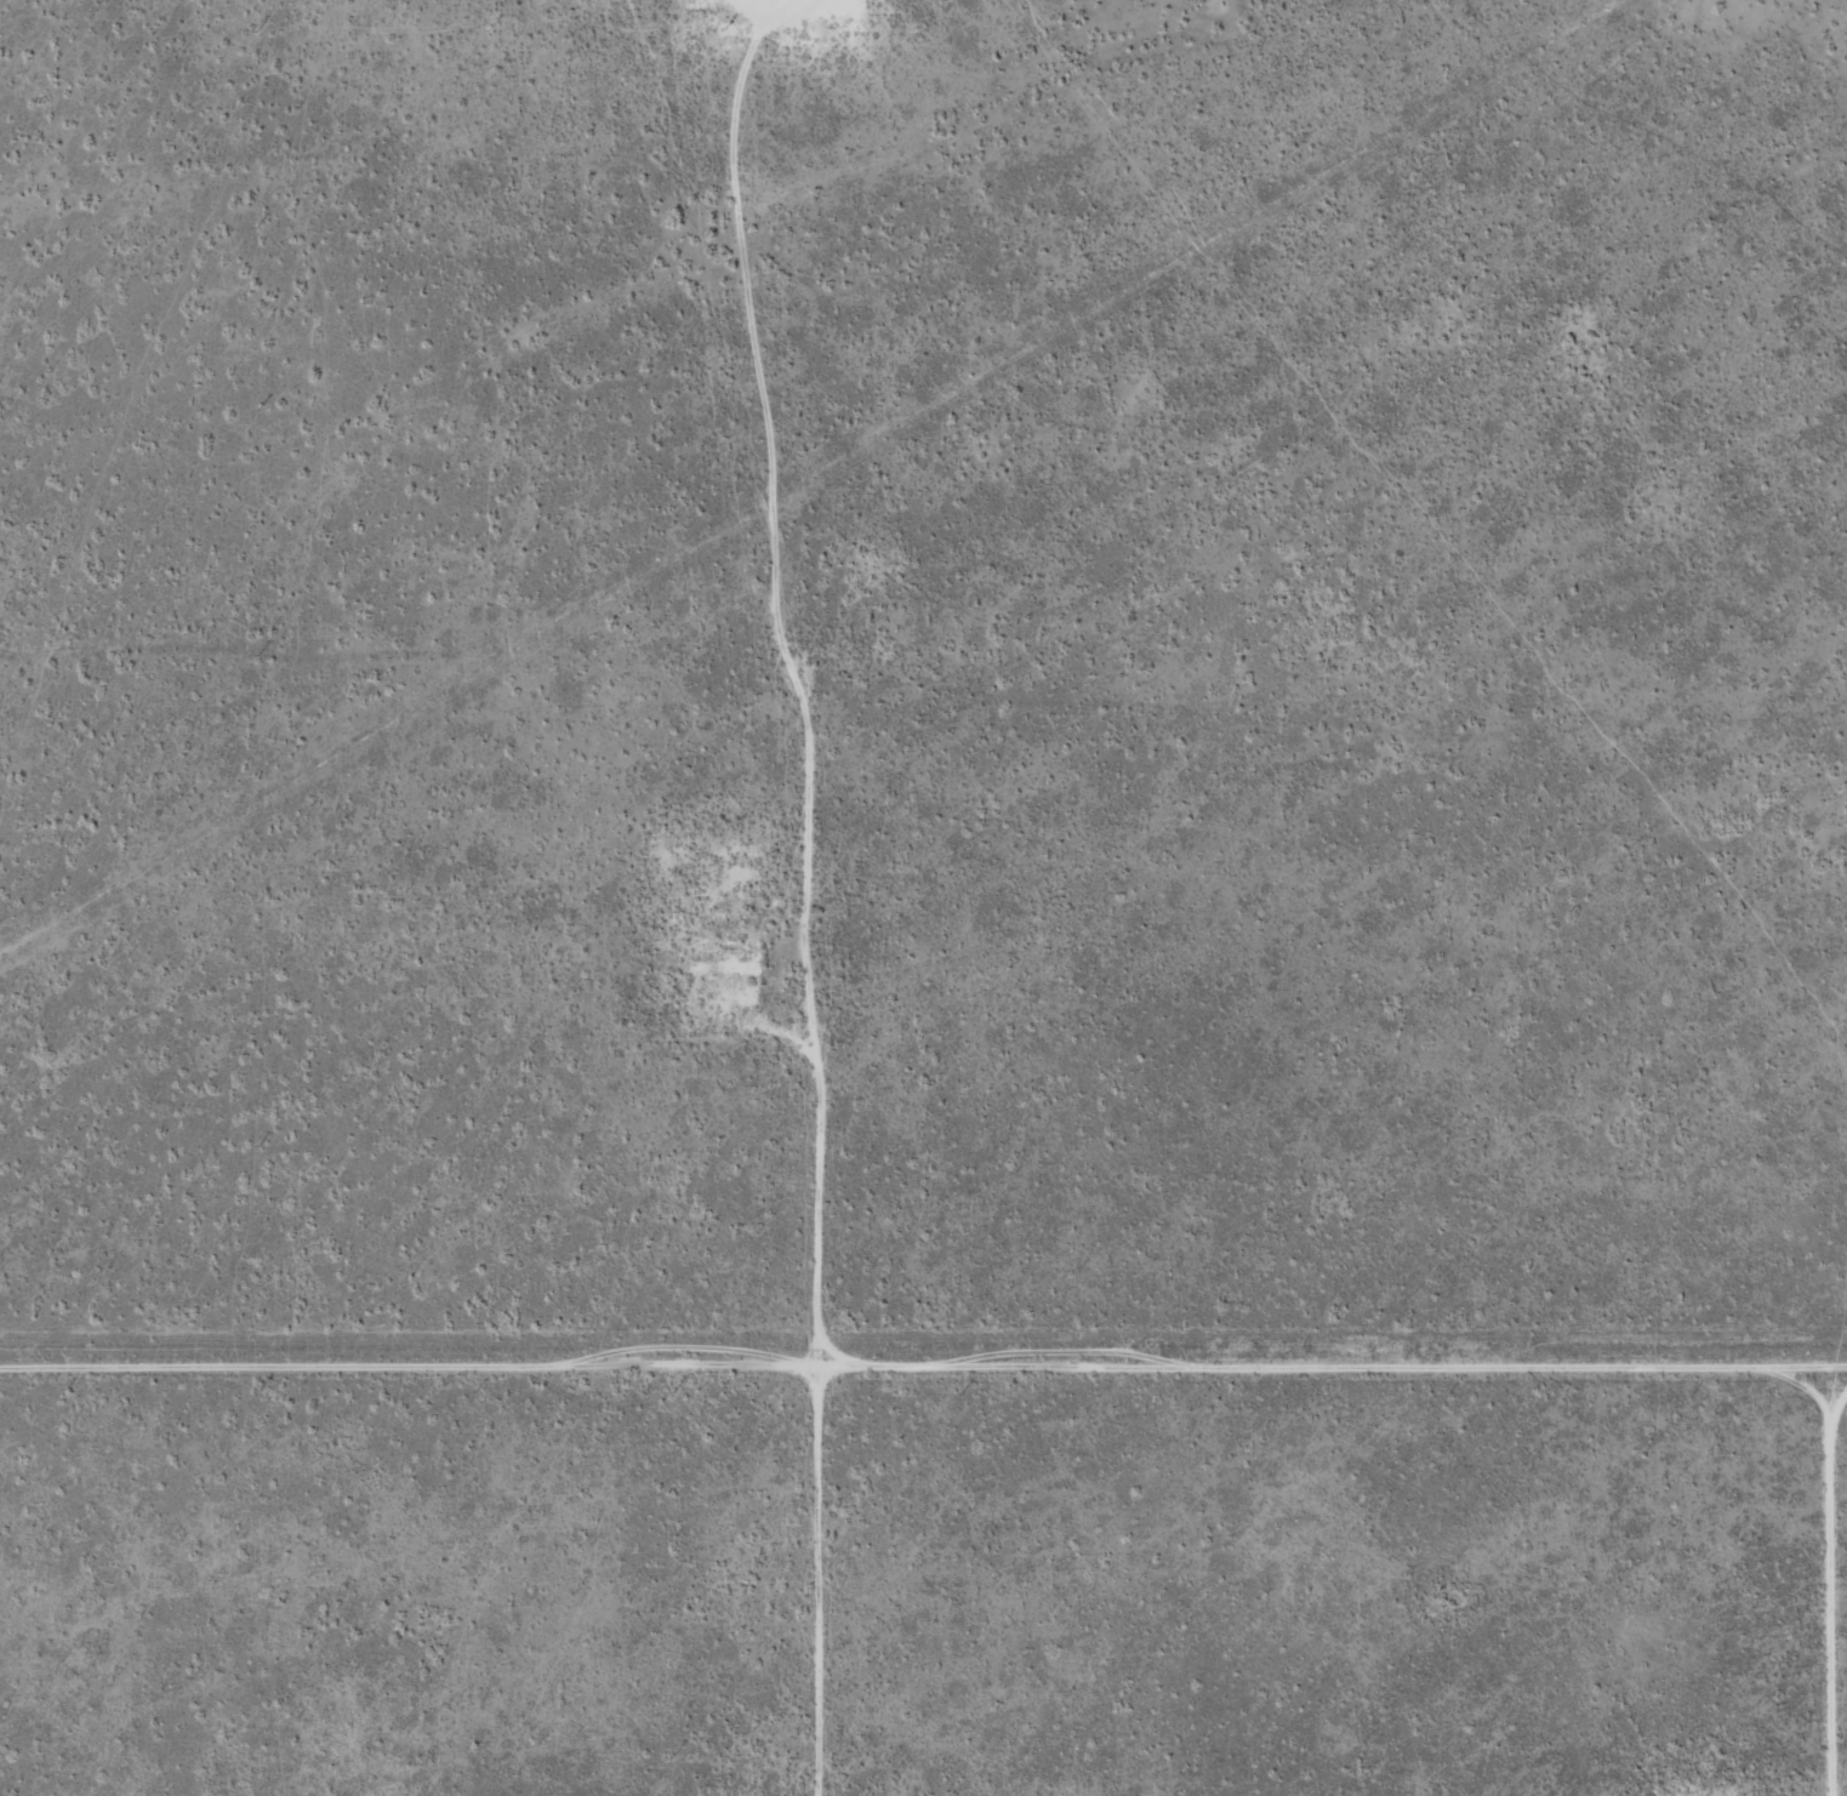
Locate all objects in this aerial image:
road: (799, 874)
road: (1332, 1349)
road: (407, 1355)
road: (1845, 1570)

